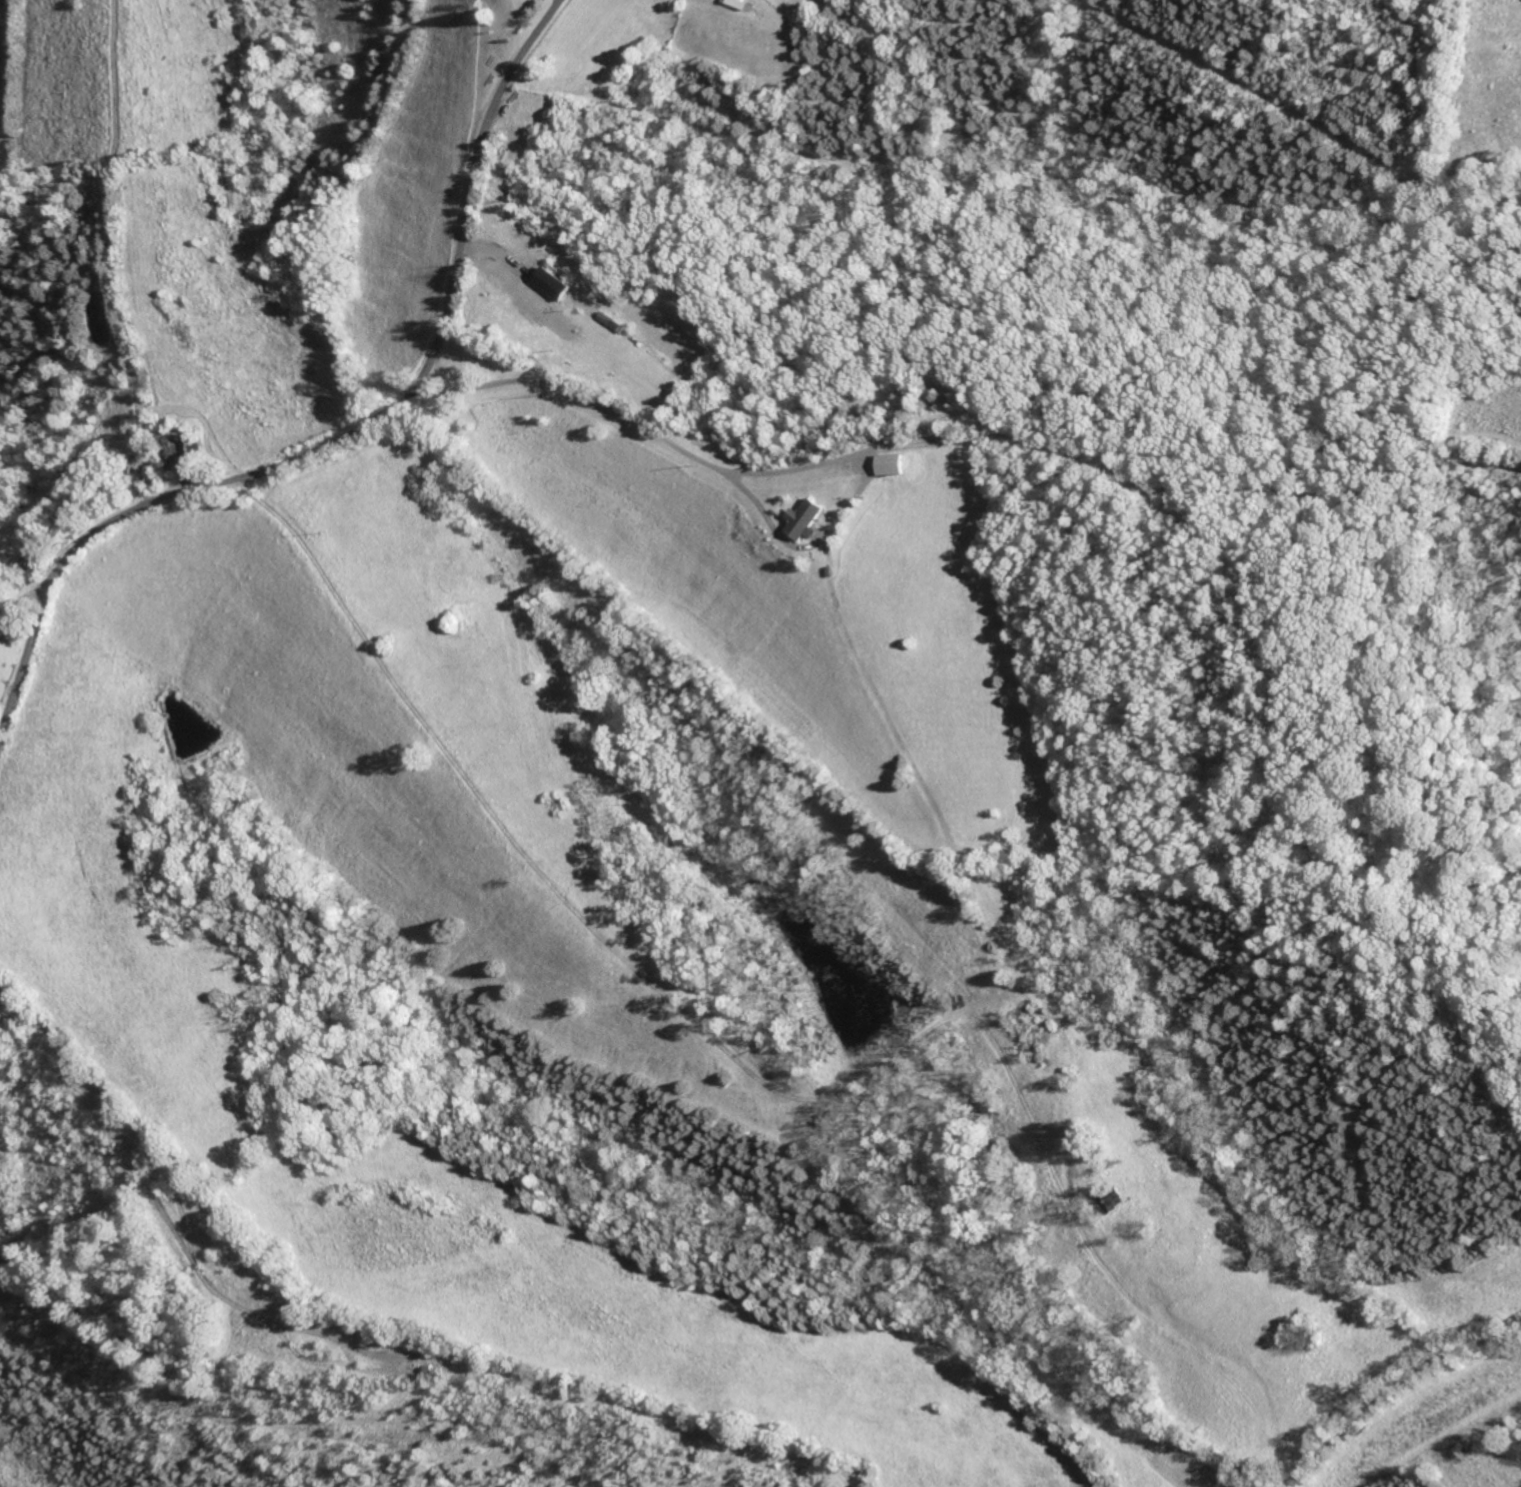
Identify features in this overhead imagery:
road: (349, 437)
road: (668, 440)
building: (892, 465)
building: (806, 519)

